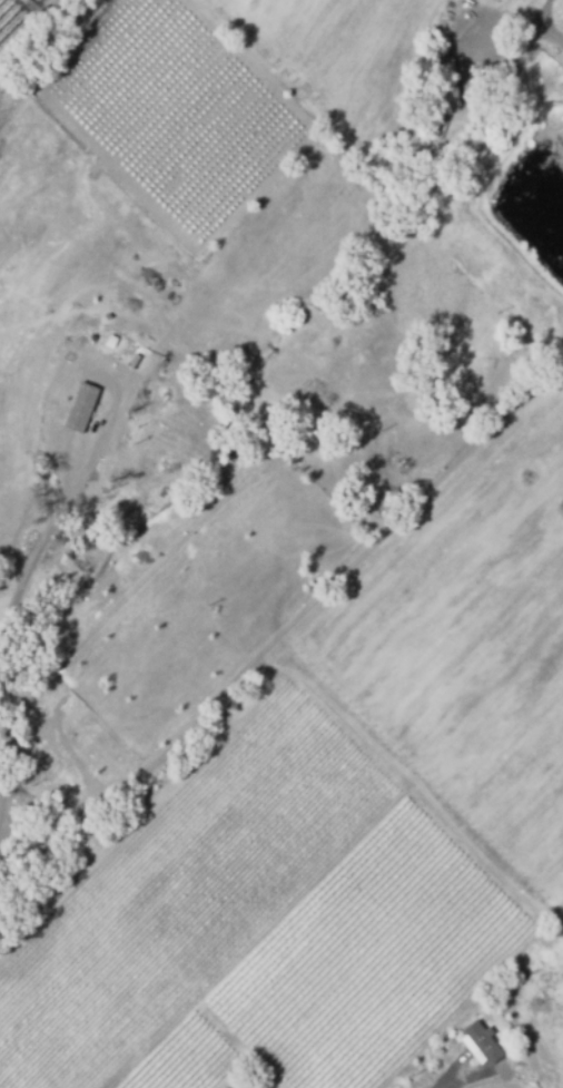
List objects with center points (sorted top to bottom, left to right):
road: (549, 24)
building: (447, 85)
building: (120, 369)
building: (326, 393)
building: (83, 412)
building: (120, 445)
road: (31, 546)
road: (297, 621)
road: (415, 790)
building: (482, 1043)

